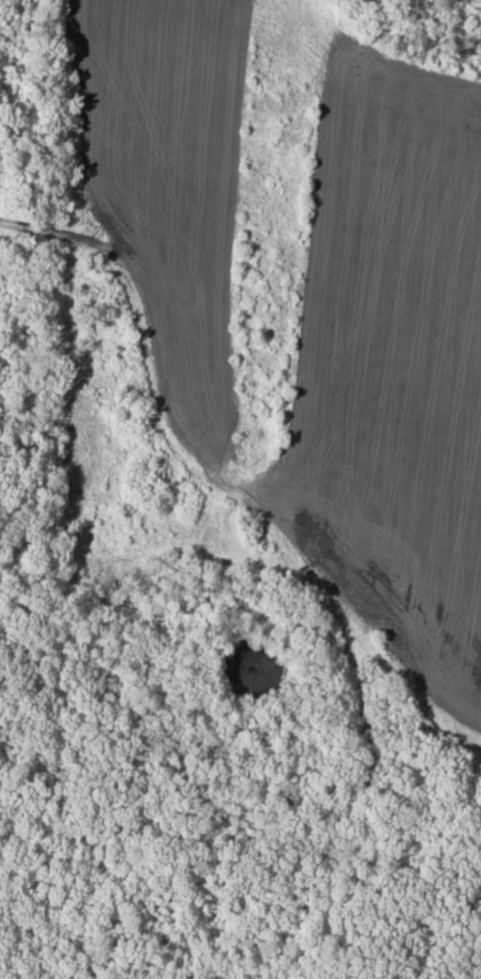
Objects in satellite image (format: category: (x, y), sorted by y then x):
park: (240, 489)

